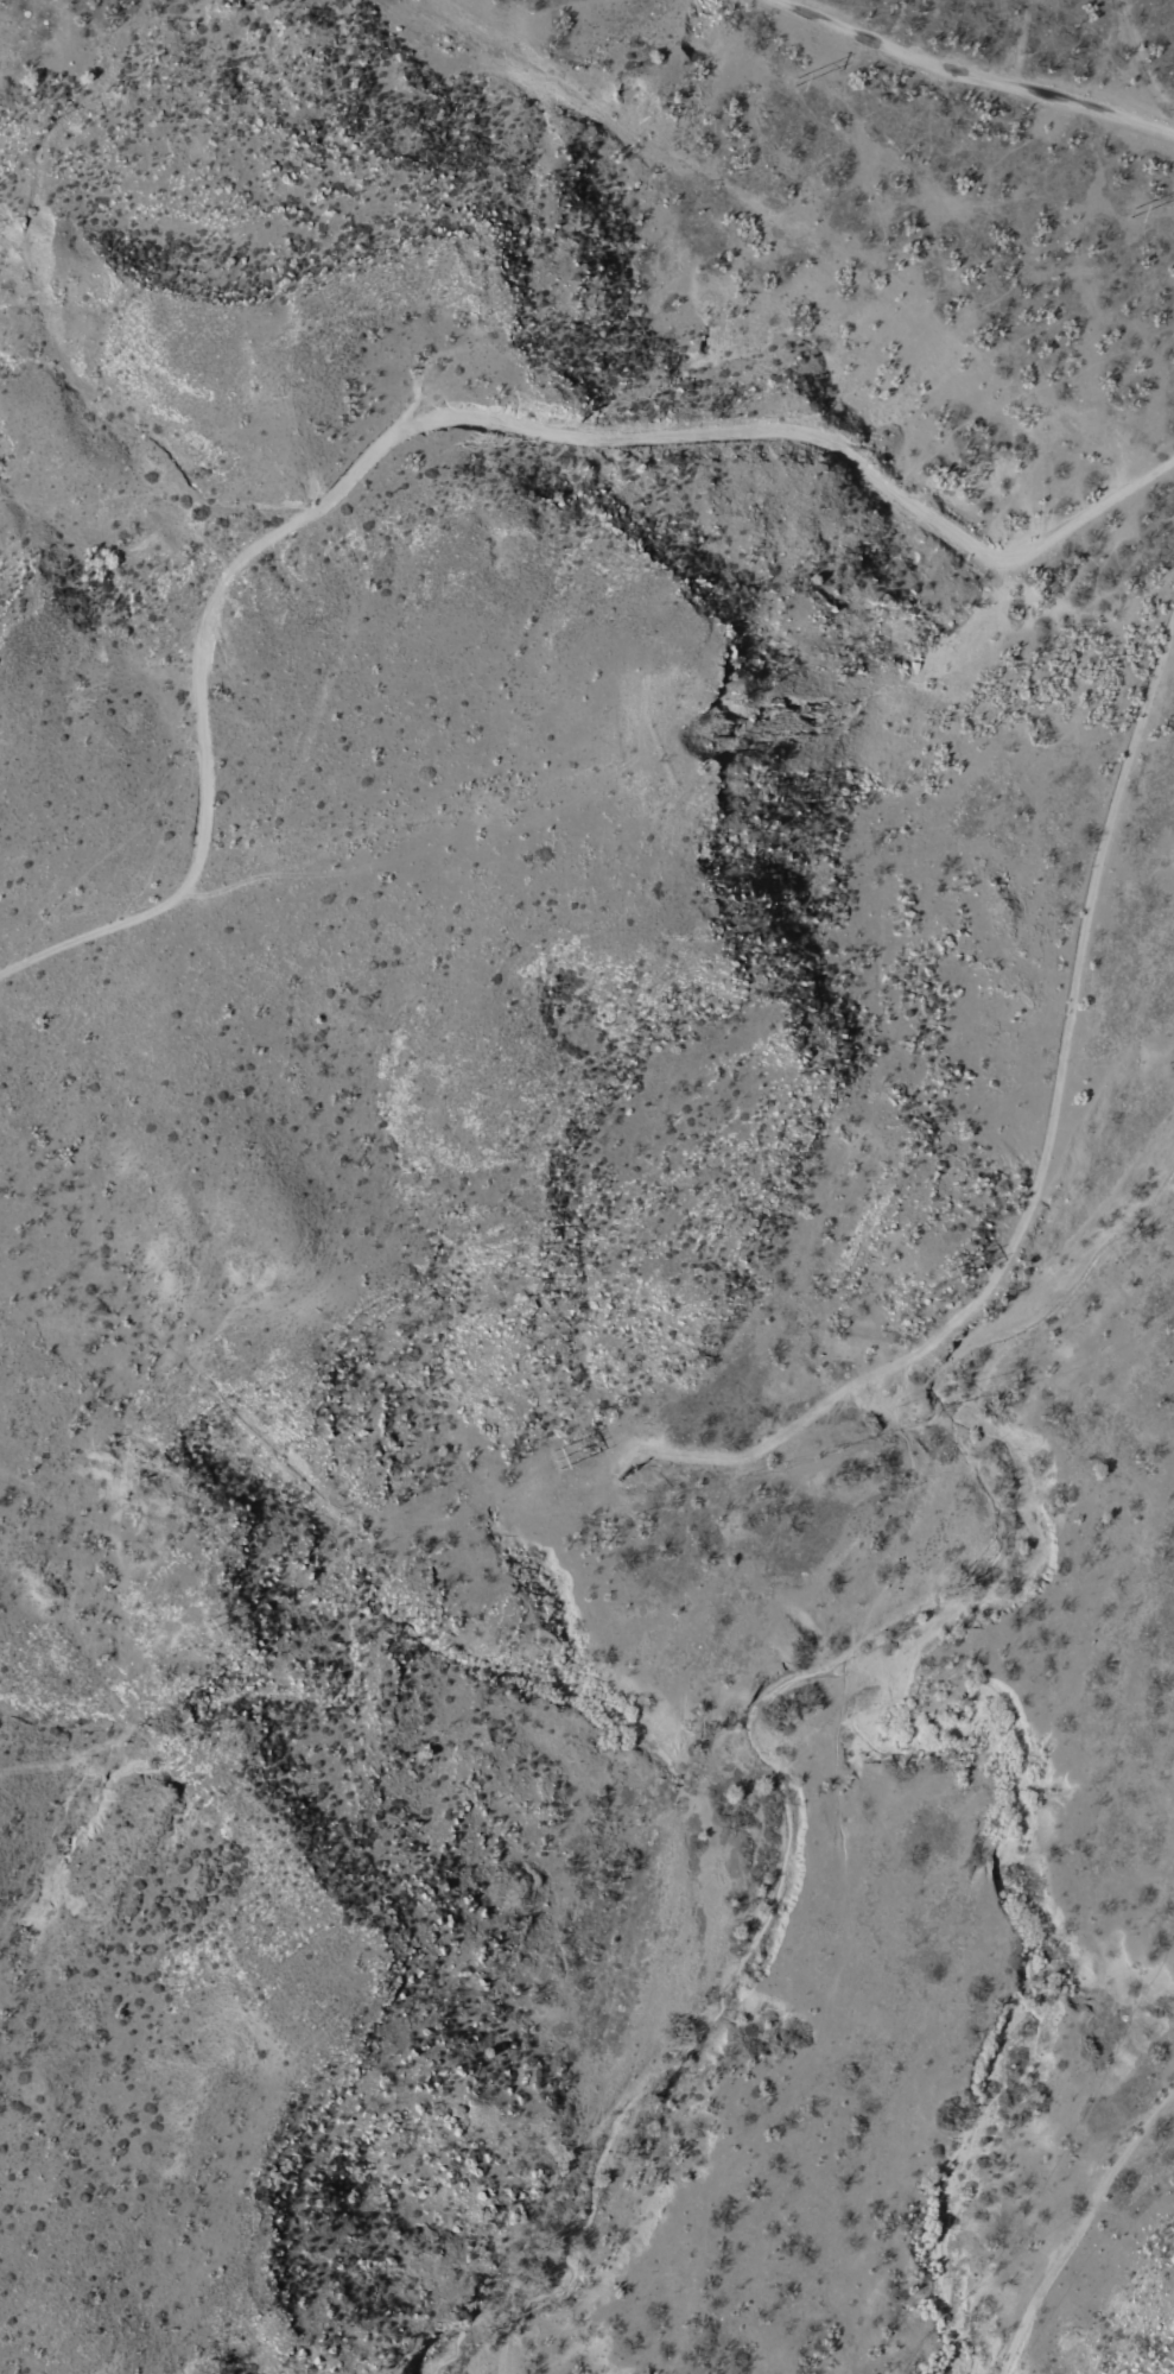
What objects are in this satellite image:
power tower: (795, 83)
power tower: (1130, 215)
power tower: (946, 1275)
power tower: (554, 1460)
power tower: (208, 1625)
road: (1073, 2203)

